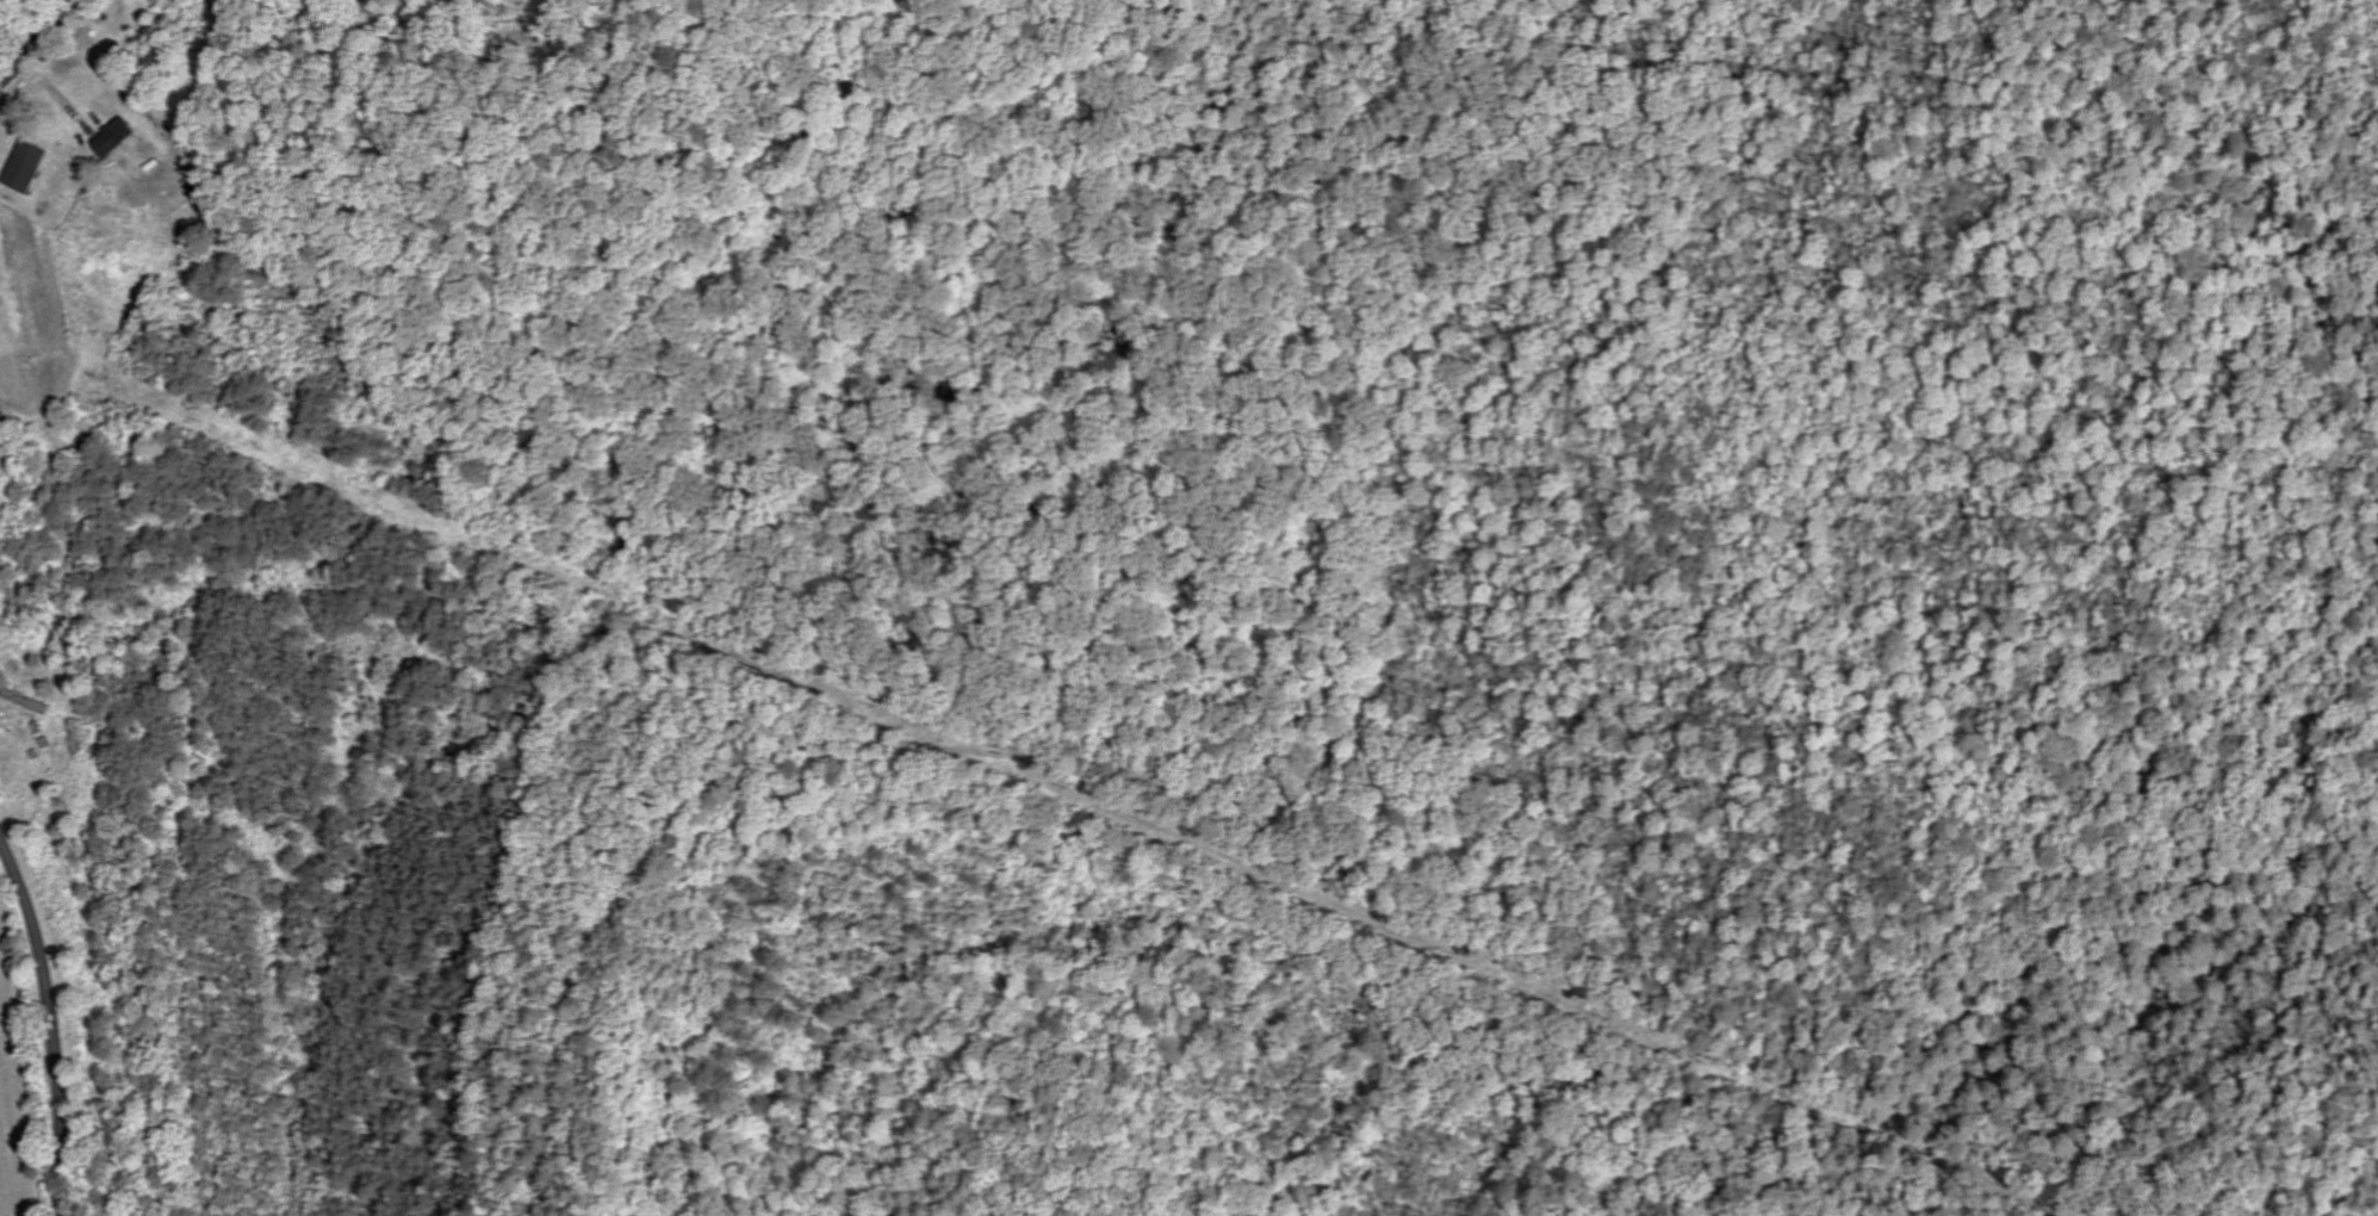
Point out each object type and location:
building: (161, 1)
road: (38, 42)
building: (117, 139)
building: (27, 168)
road: (52, 1015)

